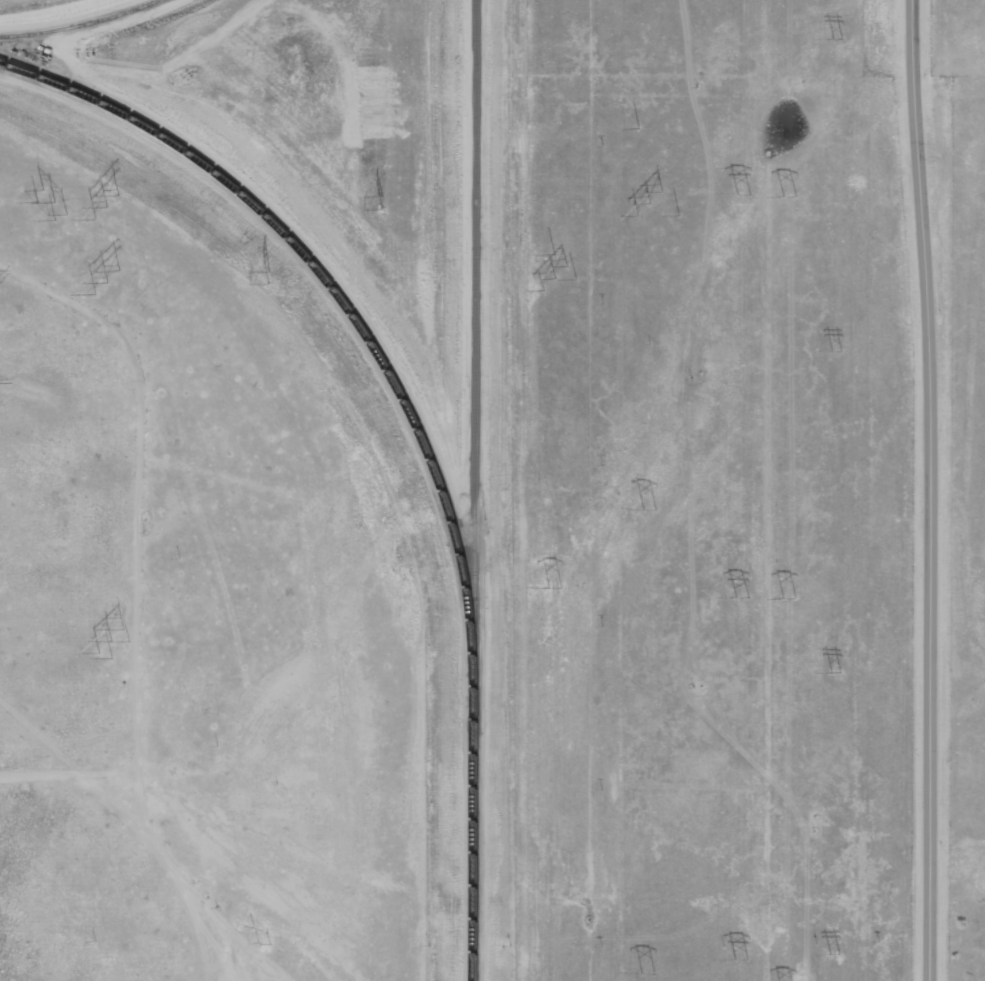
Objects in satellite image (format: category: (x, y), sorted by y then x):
railway: (79, 24)
power plant: (462, 38)
power tower: (829, 39)
power tower: (736, 194)
power tower: (783, 197)
power tower: (375, 202)
power tower: (643, 203)
power tower: (53, 205)
power tower: (104, 206)
power tower: (547, 278)
power tower: (275, 280)
power tower: (105, 283)
railway: (335, 293)
railway: (473, 337)
power tower: (832, 349)
road: (924, 490)
power tower: (644, 508)
power plant: (446, 528)
power tower: (549, 586)
power tower: (736, 596)
power tower: (783, 597)
power tower: (110, 641)
power tower: (831, 672)
railway: (471, 828)
power tower: (828, 942)
power tower: (737, 948)
power tower: (644, 976)

